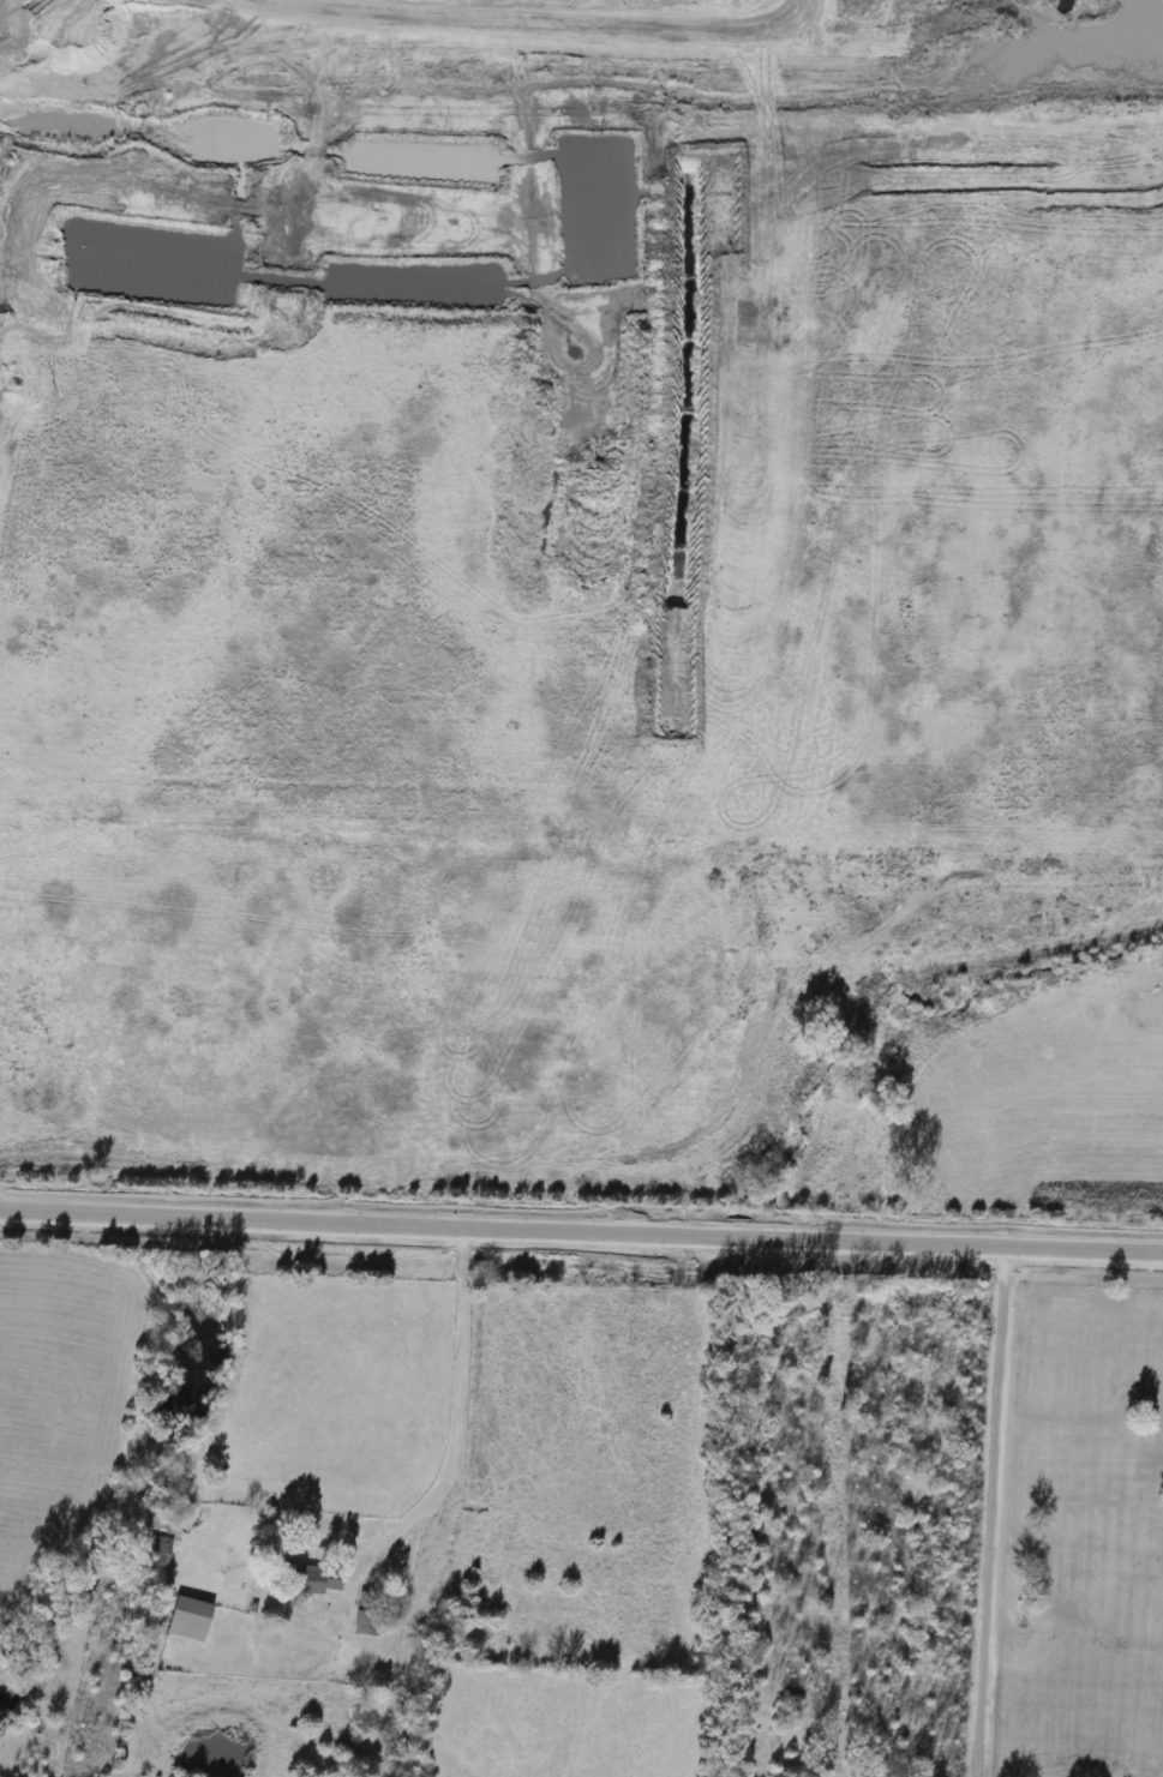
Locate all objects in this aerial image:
road: (581, 1229)
road: (457, 1427)
road: (993, 1511)
building: (305, 1580)
building: (184, 1619)
building: (360, 1625)

